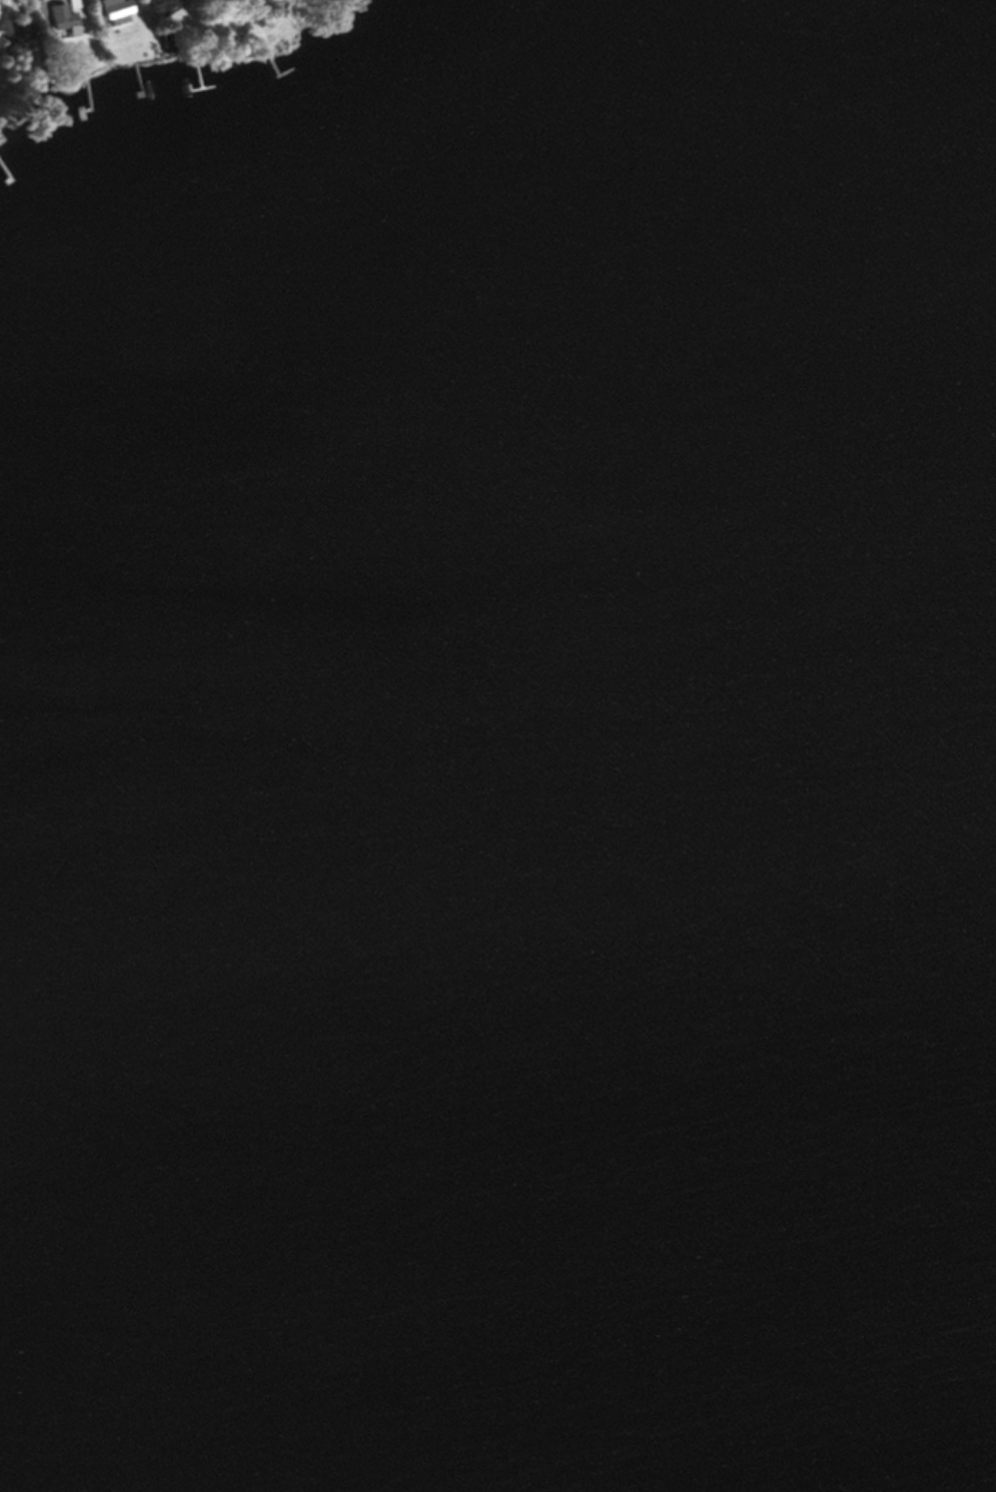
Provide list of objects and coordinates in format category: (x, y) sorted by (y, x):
river: (774, 4)
building: (78, 6)
building: (165, 6)
building: (120, 13)
building: (67, 24)
building: (15, 38)

